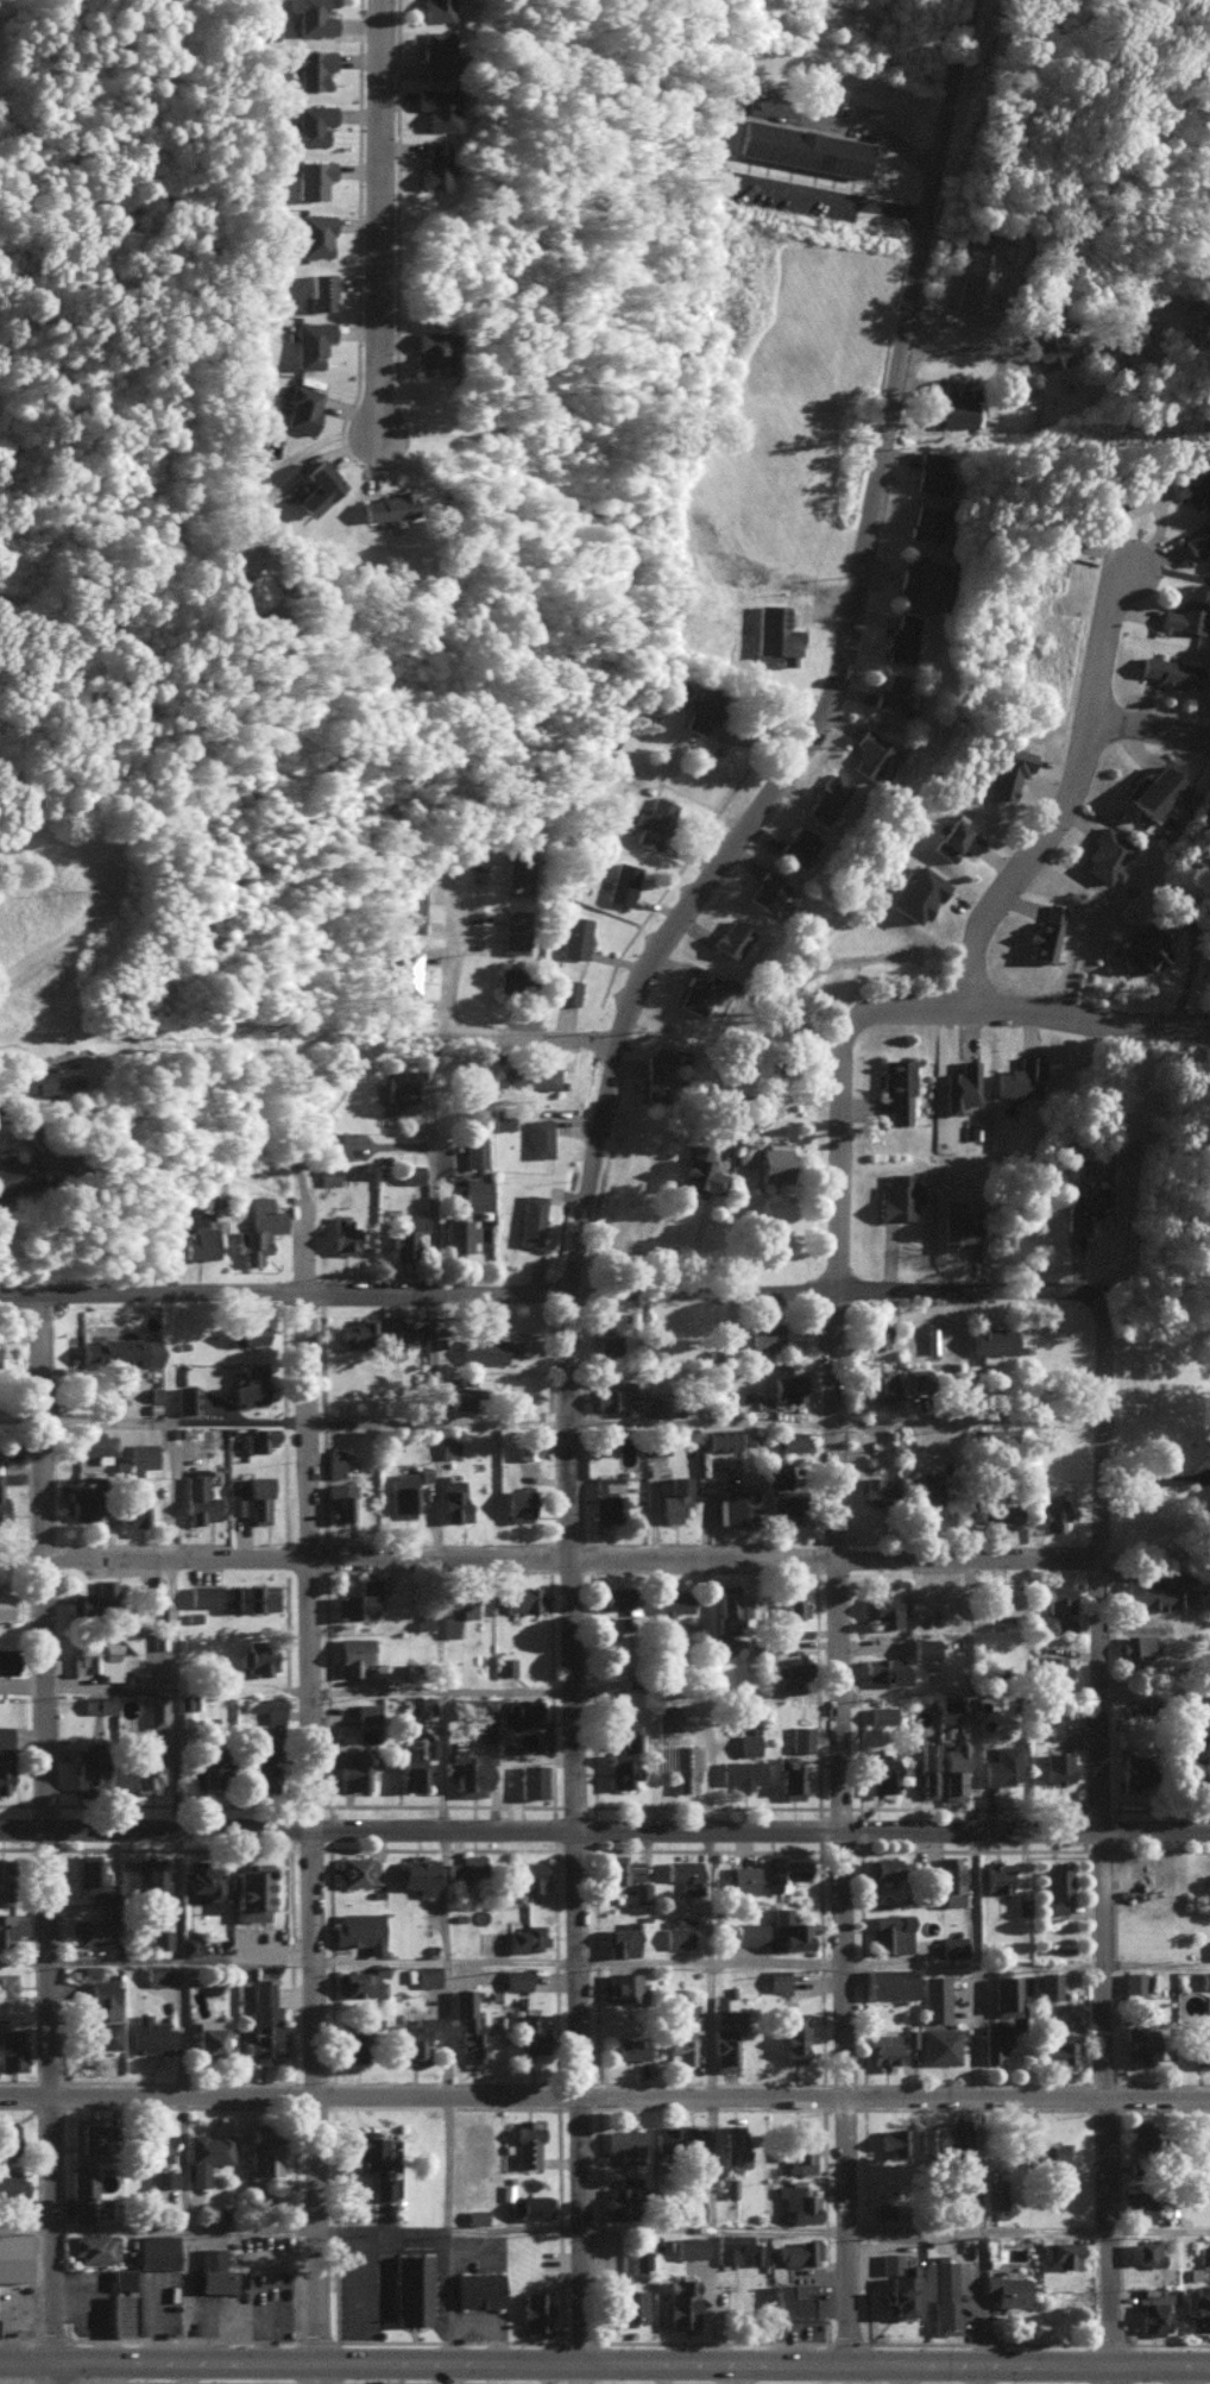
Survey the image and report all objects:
building: (436, 10)
building: (313, 17)
building: (435, 52)
building: (313, 67)
building: (436, 106)
building: (309, 124)
road: (720, 139)
building: (801, 146)
building: (431, 162)
building: (311, 177)
road: (391, 208)
building: (313, 233)
building: (979, 270)
building: (320, 290)
road: (931, 329)
building: (1129, 336)
building: (309, 341)
road: (1002, 342)
building: (430, 351)
building: (1051, 351)
road: (972, 384)
building: (301, 407)
building: (956, 411)
building: (931, 472)
building: (1192, 484)
building: (316, 486)
building: (384, 505)
building: (926, 521)
building: (924, 580)
road: (871, 586)
building: (1186, 616)
building: (776, 634)
building: (901, 637)
building: (1168, 669)
building: (893, 693)
building: (701, 707)
road: (1154, 741)
building: (869, 753)
building: (1008, 769)
building: (1152, 791)
building: (827, 797)
road: (1082, 807)
building: (651, 820)
building: (954, 838)
building: (1209, 838)
building: (799, 845)
building: (1105, 855)
building: (518, 870)
building: (622, 882)
building: (765, 891)
building: (918, 893)
building: (410, 908)
building: (513, 930)
building: (1046, 932)
building: (574, 936)
building: (732, 938)
building: (1142, 945)
road: (450, 951)
building: (407, 969)
building: (511, 979)
building: (566, 990)
building: (697, 995)
road: (1038, 1025)
road: (535, 1040)
building: (682, 1061)
building: (536, 1076)
building: (653, 1076)
building: (1019, 1077)
building: (45, 1078)
building: (960, 1086)
building: (399, 1088)
building: (895, 1088)
road: (172, 1103)
building: (500, 1118)
building: (538, 1136)
building: (336, 1144)
building: (474, 1150)
building: (744, 1150)
road: (430, 1158)
building: (773, 1159)
building: (698, 1169)
building: (17, 1171)
building: (410, 1171)
building: (328, 1175)
building: (475, 1191)
building: (897, 1194)
building: (202, 1197)
building: (1082, 1202)
building: (530, 1218)
building: (956, 1224)
building: (257, 1228)
building: (456, 1232)
building: (341, 1233)
building: (402, 1235)
building: (200, 1240)
road: (26, 1290)
road: (578, 1291)
building: (246, 1329)
building: (371, 1332)
building: (764, 1332)
building: (607, 1334)
building: (874, 1334)
building: (931, 1338)
building: (991, 1338)
building: (486, 1348)
building: (118, 1350)
building: (913, 1378)
building: (248, 1382)
building: (877, 1384)
building: (787, 1385)
building: (458, 1395)
building: (184, 1396)
building: (636, 1401)
road: (1113, 1422)
road: (434, 1423)
road: (53, 1424)
road: (576, 1424)
building: (257, 1436)
building: (721, 1438)
building: (792, 1439)
building: (92, 1442)
building: (447, 1445)
building: (656, 1445)
building: (525, 1446)
building: (141, 1453)
building: (334, 1461)
building: (775, 1472)
road: (1161, 1478)
building: (925, 1484)
building: (875, 1487)
building: (403, 1490)
building: (606, 1496)
building: (234, 1497)
building: (257, 1497)
building: (675, 1497)
building: (197, 1498)
building: (340, 1499)
building: (453, 1499)
building: (82, 1502)
building: (516, 1503)
building: (2, 1504)
building: (736, 1504)
building: (787, 1504)
building: (991, 1509)
building: (133, 1510)
building: (1051, 1511)
road: (580, 1536)
road: (582, 1555)
road: (29, 1559)
road: (321, 1579)
building: (1158, 1590)
building: (202, 1593)
building: (251, 1594)
building: (1058, 1594)
building: (151, 1596)
building: (1001, 1596)
building: (94, 1597)
building: (357, 1598)
building: (518, 1598)
building: (7, 1604)
building: (670, 1606)
building: (884, 1608)
building: (456, 1610)
building: (795, 1612)
building: (726, 1621)
road: (1111, 1622)
building: (1061, 1623)
building: (158, 1638)
building: (1134, 1643)
building: (922, 1646)
building: (259, 1654)
building: (353, 1655)
building: (96, 1658)
building: (2, 1659)
building: (505, 1665)
building: (1051, 1665)
building: (883, 1668)
building: (792, 1671)
road: (115, 1685)
road: (1161, 1688)
road: (453, 1691)
road: (849, 1691)
road: (720, 1693)
building: (97, 1701)
building: (424, 1704)
building: (265, 1705)
building: (477, 1706)
building: (155, 1709)
building: (947, 1709)
building: (365, 1711)
building: (518, 1711)
building: (880, 1713)
building: (666, 1715)
building: (1055, 1730)
building: (5, 1735)
building: (800, 1736)
building: (746, 1742)
building: (84, 1756)
building: (623, 1760)
building: (259, 1761)
road: (454, 1761)
building: (683, 1763)
building: (1002, 1763)
building: (410, 1765)
building: (926, 1766)
building: (1055, 1766)
building: (146, 1767)
building: (348, 1767)
building: (952, 1767)
building: (207, 1768)
building: (4, 1769)
building: (465, 1769)
building: (741, 1770)
building: (1133, 1770)
building: (881, 1772)
building: (789, 1776)
building: (530, 1779)
road: (605, 1831)
building: (882, 1866)
building: (466, 1867)
building: (622, 1868)
building: (358, 1869)
building: (783, 1869)
building: (88, 1873)
building: (415, 1873)
building: (683, 1873)
building: (150, 1874)
building: (530, 1875)
building: (1, 1876)
building: (742, 1876)
building: (995, 1876)
building: (201, 1877)
building: (949, 1877)
building: (1055, 1885)
building: (248, 1889)
road: (985, 1889)
building: (638, 1891)
road: (714, 1898)
road: (177, 1905)
building: (1021, 1905)
building: (10, 1925)
building: (788, 1927)
building: (88, 1929)
building: (358, 1929)
building: (890, 1931)
building: (676, 1932)
building: (749, 1932)
building: (525, 1936)
building: (159, 1937)
building: (619, 1938)
building: (189, 1944)
building: (952, 1944)
building: (1209, 1948)
road: (55, 1958)
road: (162, 1960)
road: (456, 1961)
road: (1162, 1963)
road: (458, 1964)
road: (720, 1964)
building: (157, 1973)
building: (426, 1974)
building: (491, 1974)
building: (516, 1977)
building: (1204, 1977)
building: (777, 1979)
building: (361, 1980)
building: (888, 1982)
building: (1134, 1982)
building: (1048, 1983)
building: (6, 1984)
building: (620, 1984)
building: (1006, 1994)
building: (933, 1996)
building: (718, 2006)
building: (99, 2013)
building: (263, 2023)
building: (467, 2024)
building: (532, 2031)
building: (149, 2033)
building: (681, 2033)
building: (793, 2036)
building: (909, 2036)
building: (414, 2037)
road: (1116, 2037)
building: (206, 2039)
building: (994, 2040)
building: (353, 2043)
building: (1142, 2043)
building: (1202, 2043)
building: (939, 2044)
building: (628, 2046)
building: (11, 2048)
building: (723, 2048)
building: (882, 2048)
building: (1058, 2049)
road: (604, 2097)
building: (1140, 2133)
building: (6, 2135)
building: (664, 2135)
building: (931, 2135)
building: (84, 2137)
building: (689, 2137)
building: (891, 2137)
building: (958, 2138)
building: (1205, 2138)
building: (157, 2141)
building: (623, 2141)
building: (525, 2143)
building: (732, 2144)
building: (261, 2149)
building: (799, 2149)
building: (1046, 2149)
building: (368, 2151)
building: (206, 2153)
road: (446, 2163)
road: (588, 2163)
road: (711, 2163)
road: (326, 2171)
building: (162, 2177)
building: (10, 2182)
building: (729, 2184)
building: (382, 2187)
building: (1208, 2188)
building: (992, 2191)
building: (80, 2193)
building: (258, 2195)
building: (622, 2197)
building: (798, 2202)
building: (534, 2204)
building: (1137, 2204)
building: (692, 2207)
building: (474, 2214)
road: (26, 2228)
road: (631, 2228)
building: (687, 2245)
building: (92, 2246)
building: (739, 2247)
building: (157, 2250)
building: (798, 2251)
building: (1143, 2251)
building: (1060, 2253)
building: (12, 2256)
building: (1204, 2256)
building: (641, 2259)
building: (213, 2270)
building: (121, 2279)
building: (897, 2282)
building: (1006, 2286)
building: (410, 2288)
building: (477, 2288)
building: (939, 2292)
building: (788, 2301)
building: (680, 2302)
building: (629, 2304)
building: (1198, 2307)
building: (534, 2311)
building: (120, 2313)
building: (1153, 2315)
road: (473, 2325)
road: (26, 2360)
road: (631, 2361)
road: (52, 2372)
road: (446, 2372)
road: (593, 2372)
road: (741, 2373)
road: (907, 2373)
road: (973, 2373)
building: (389, 2383)

